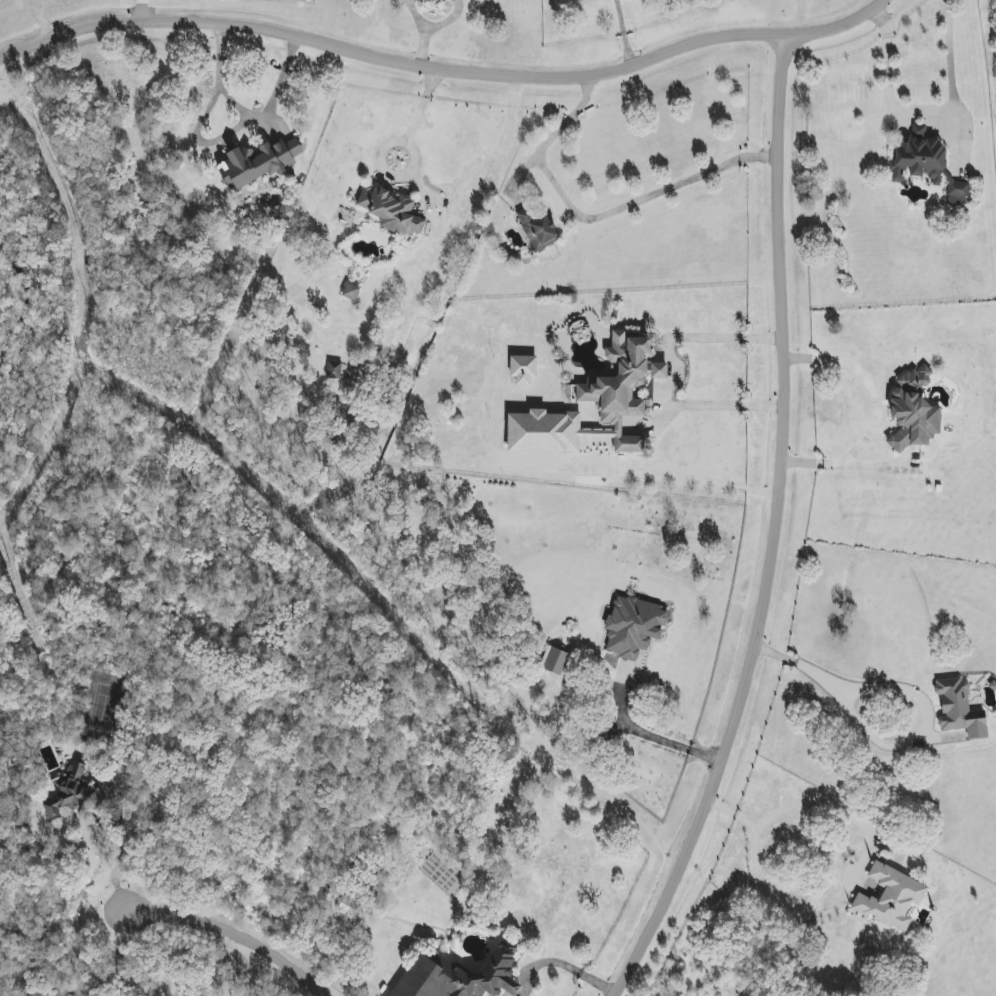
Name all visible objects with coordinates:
road: (138, 11)
road: (446, 19)
road: (423, 30)
road: (623, 32)
road: (442, 70)
road: (922, 113)
road: (246, 114)
road: (413, 114)
road: (552, 134)
building: (918, 157)
building: (258, 162)
building: (958, 192)
road: (640, 198)
building: (391, 210)
building: (537, 227)
building: (350, 291)
building: (523, 368)
building: (333, 369)
road: (670, 379)
road: (780, 379)
building: (622, 387)
building: (913, 411)
road: (876, 412)
building: (544, 432)
road: (686, 479)
building: (633, 626)
building: (553, 660)
road: (823, 678)
building: (959, 709)
road: (644, 733)
building: (69, 792)
road: (732, 818)
road: (118, 852)
road: (682, 861)
building: (890, 897)
building: (349, 904)
road: (788, 904)
road: (62, 923)
road: (231, 935)
road: (565, 964)
building: (460, 976)
road: (512, 985)
road: (507, 993)

